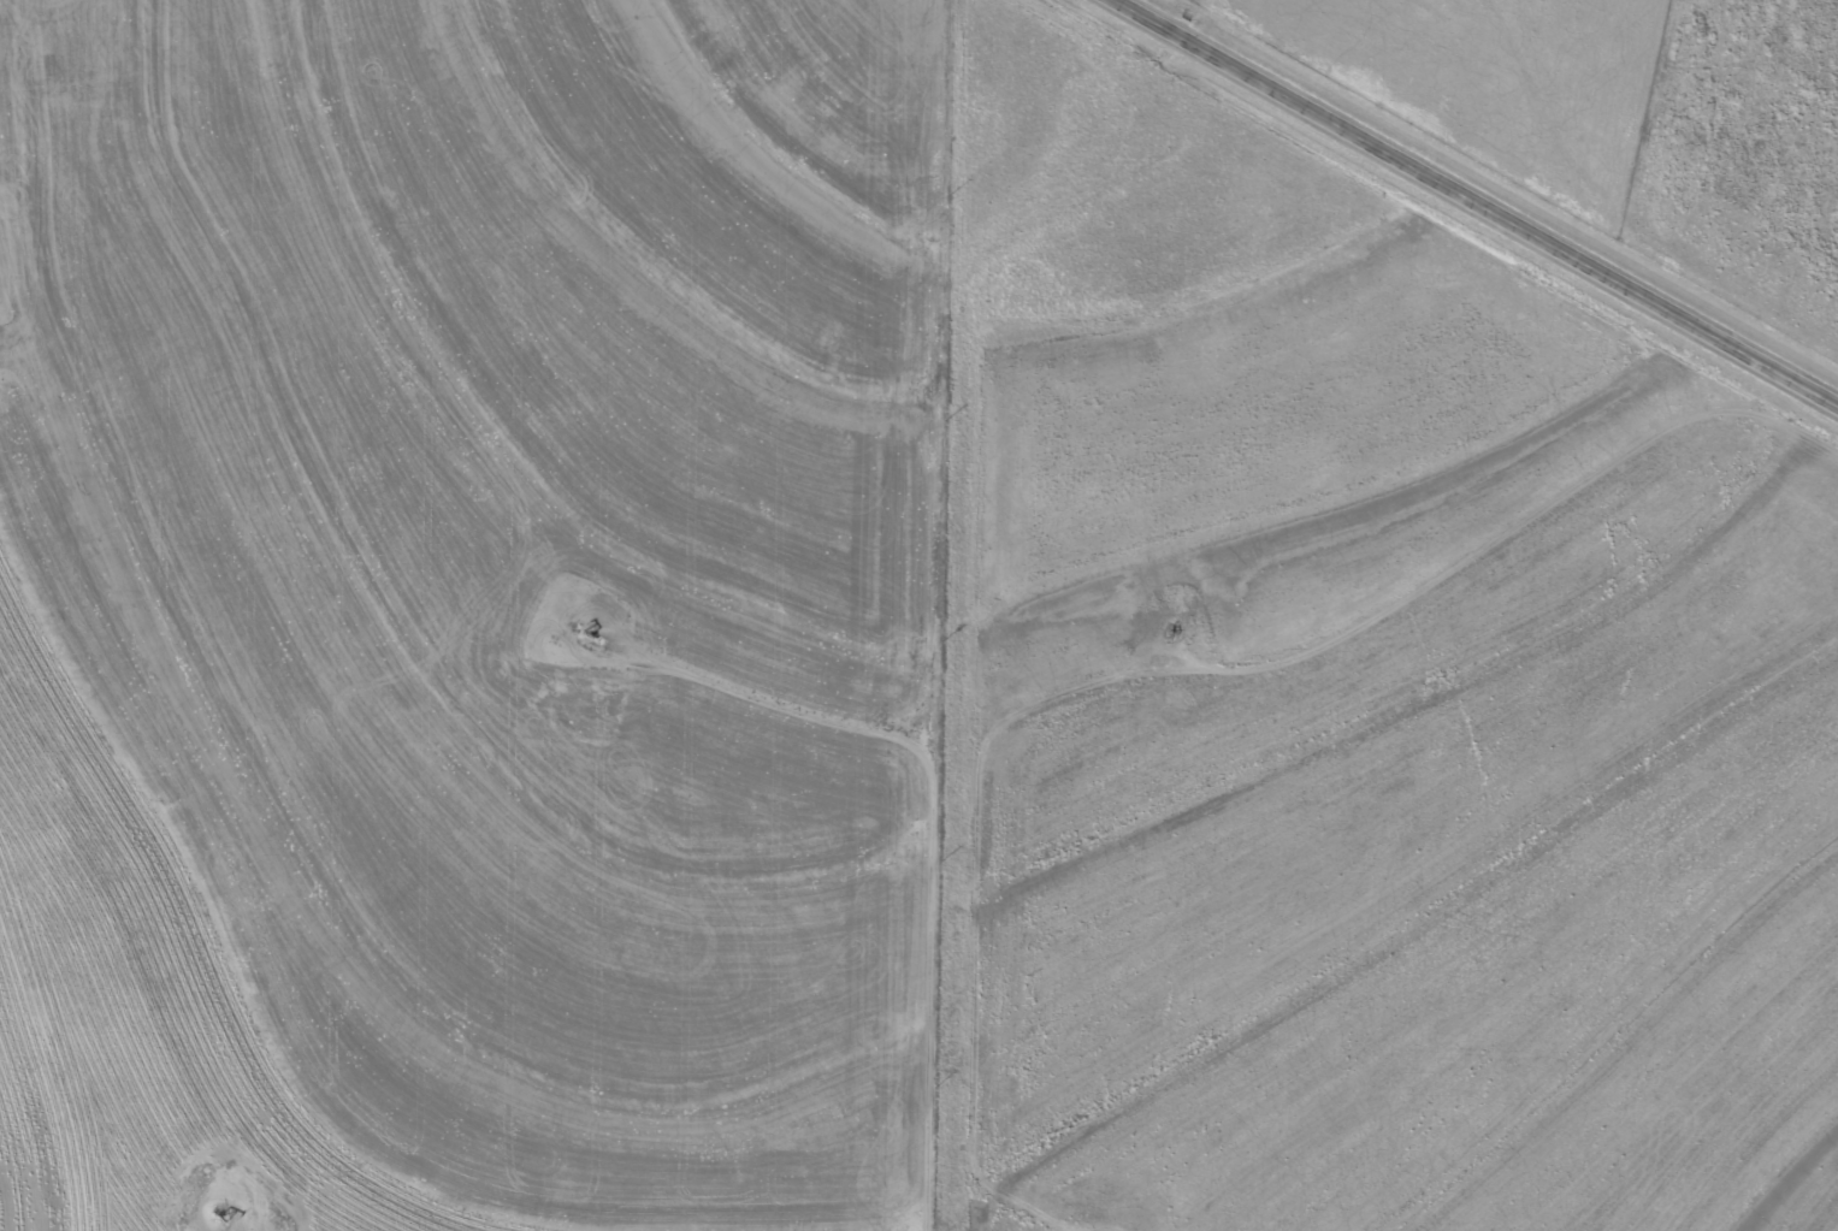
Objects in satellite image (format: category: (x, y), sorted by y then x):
road: (1478, 201)
road: (1194, 418)

